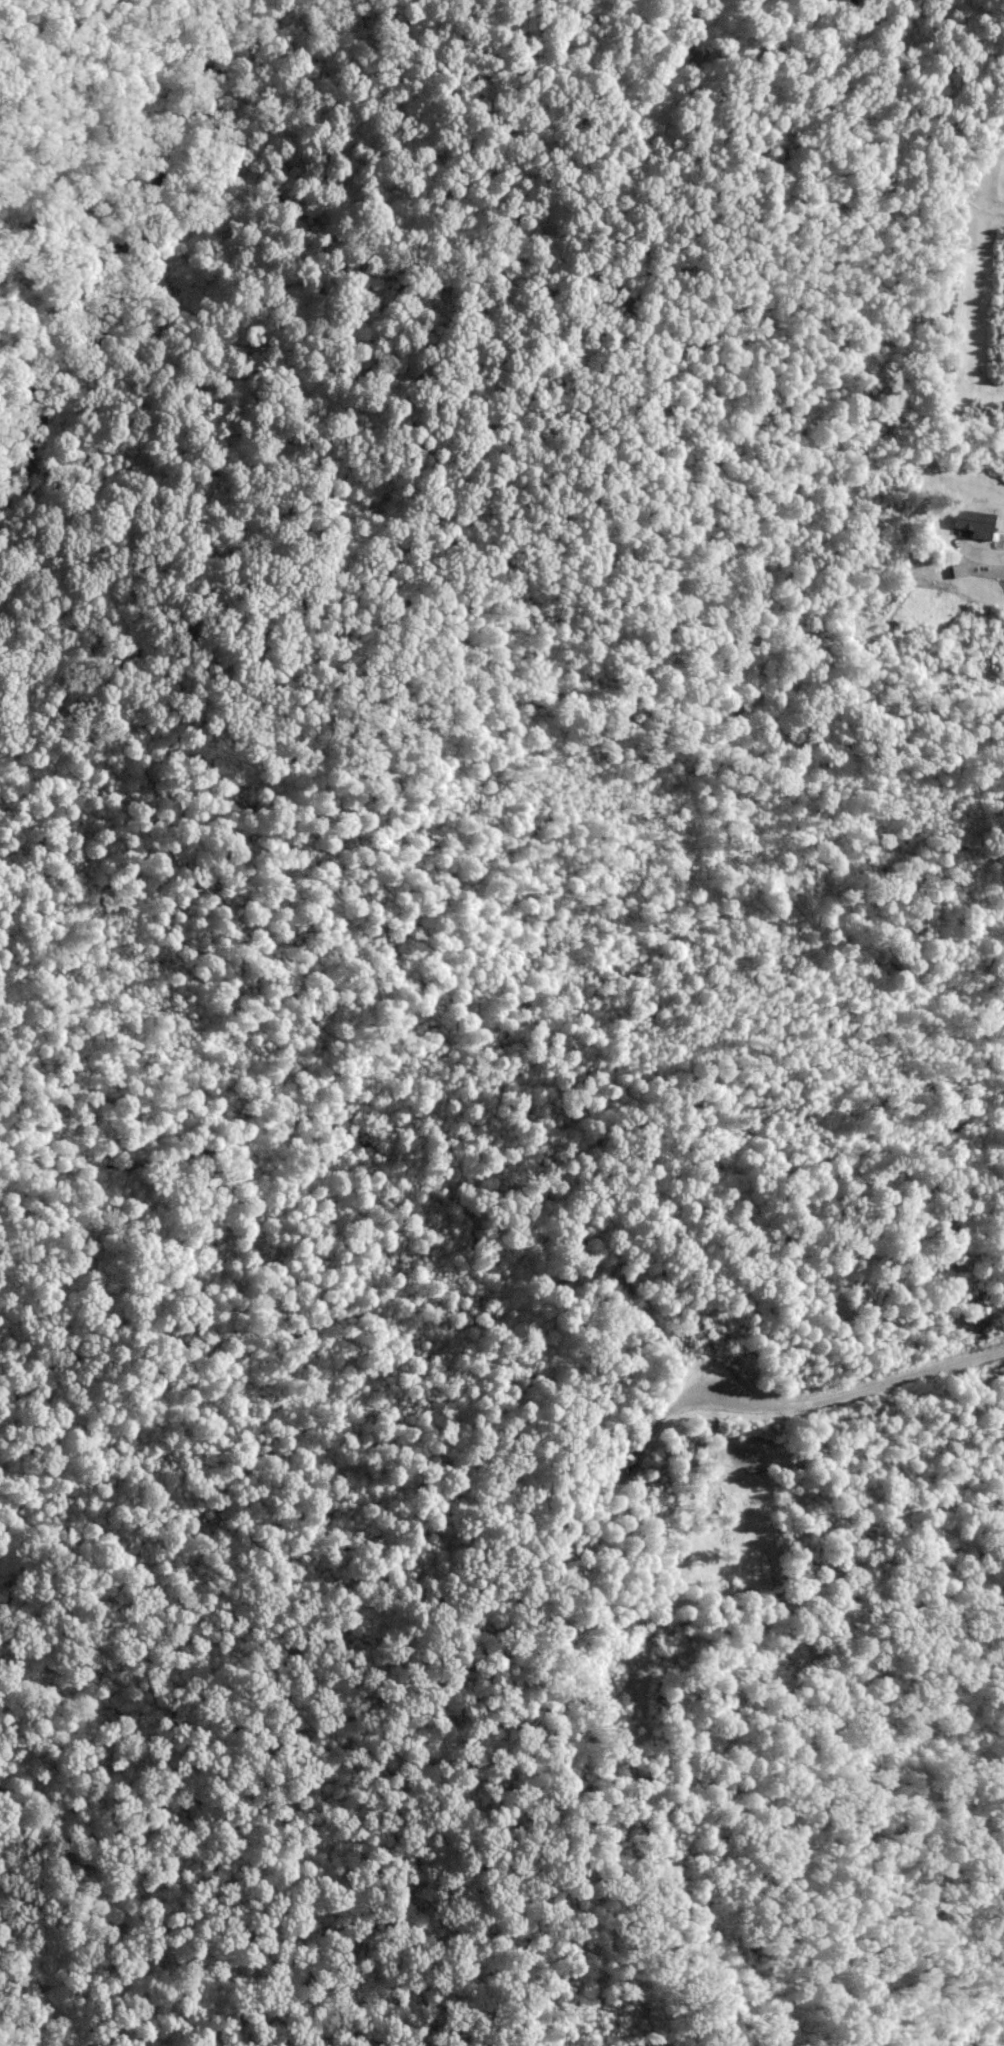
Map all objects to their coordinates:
building: (974, 525)
road: (990, 560)

